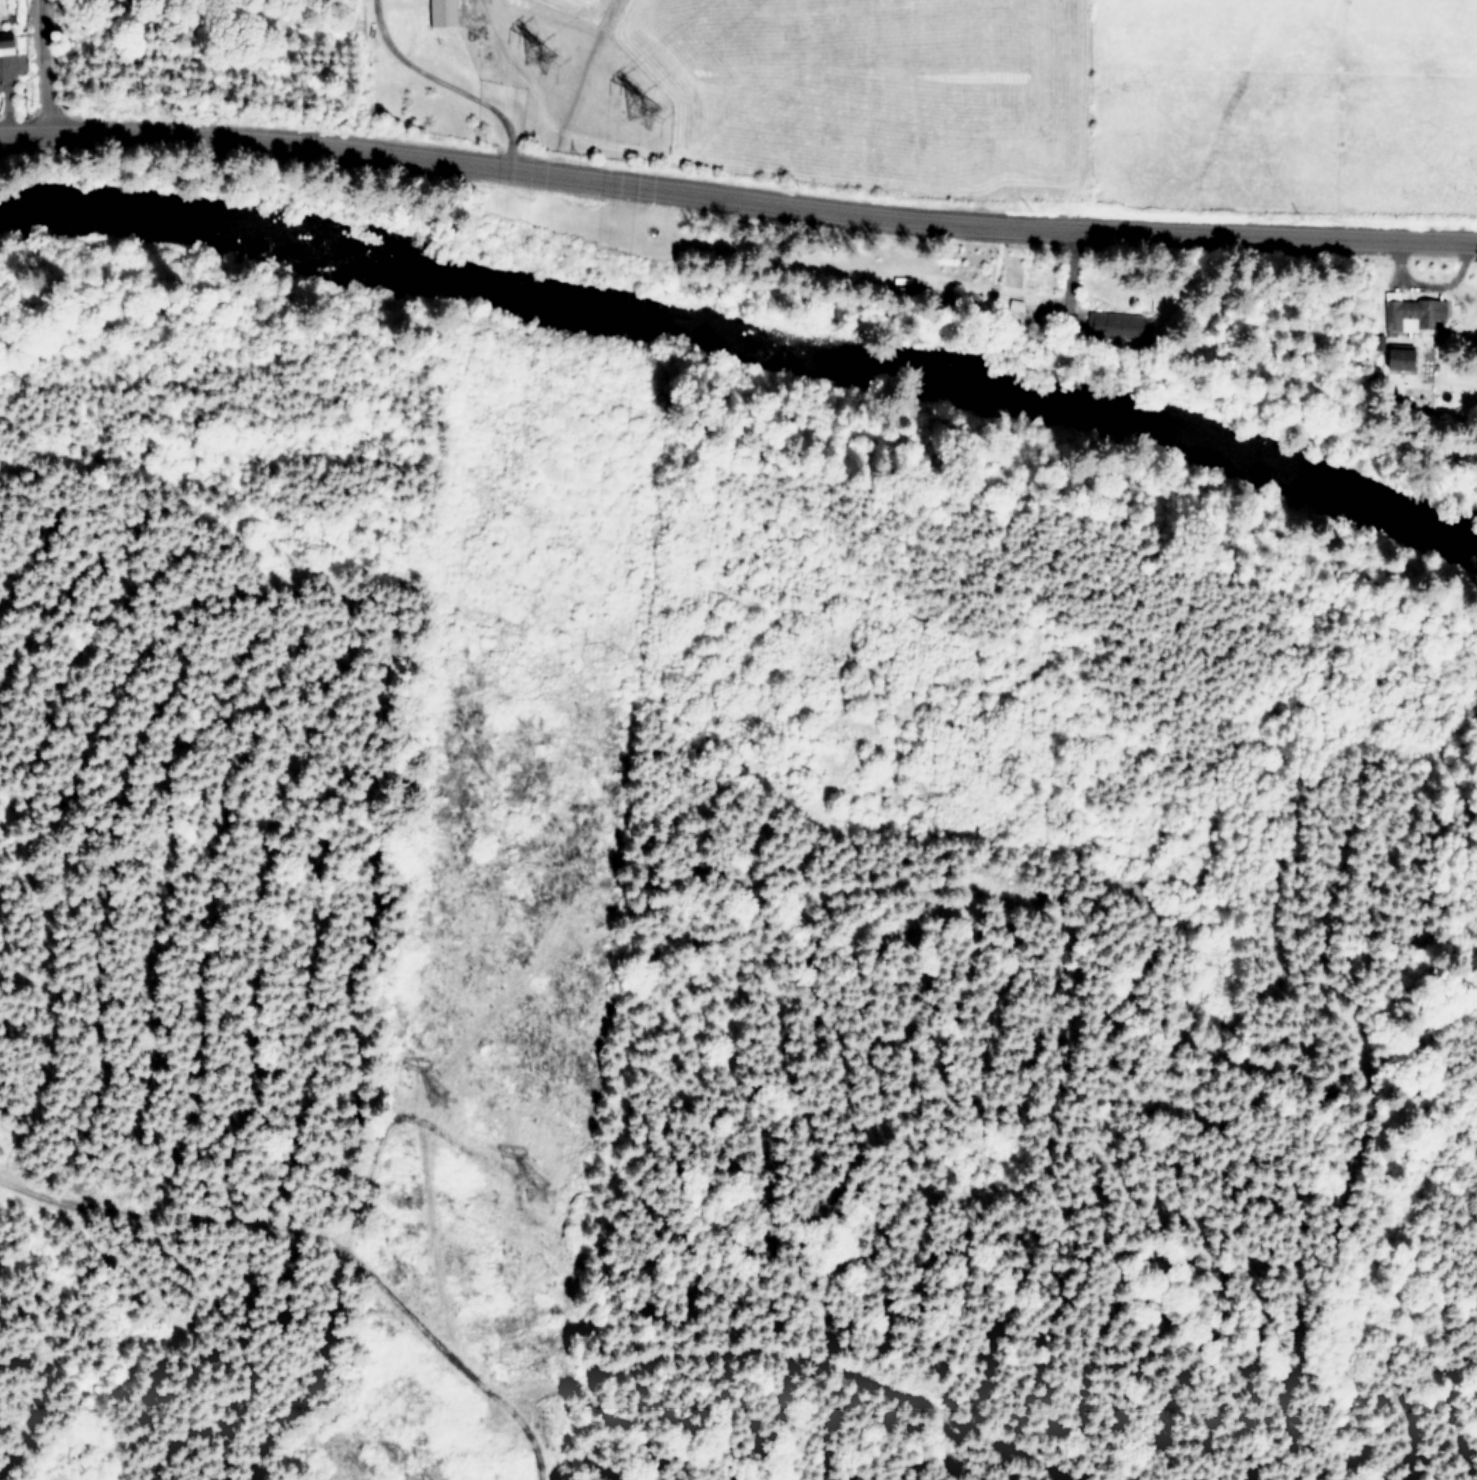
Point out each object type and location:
building: (446, 12)
power tower: (542, 58)
road: (28, 68)
road: (440, 83)
crop: (978, 89)
power tower: (639, 112)
road: (737, 197)
building: (1413, 313)
building: (1112, 324)
building: (1393, 356)
power tower: (427, 1105)
power tower: (538, 1190)

